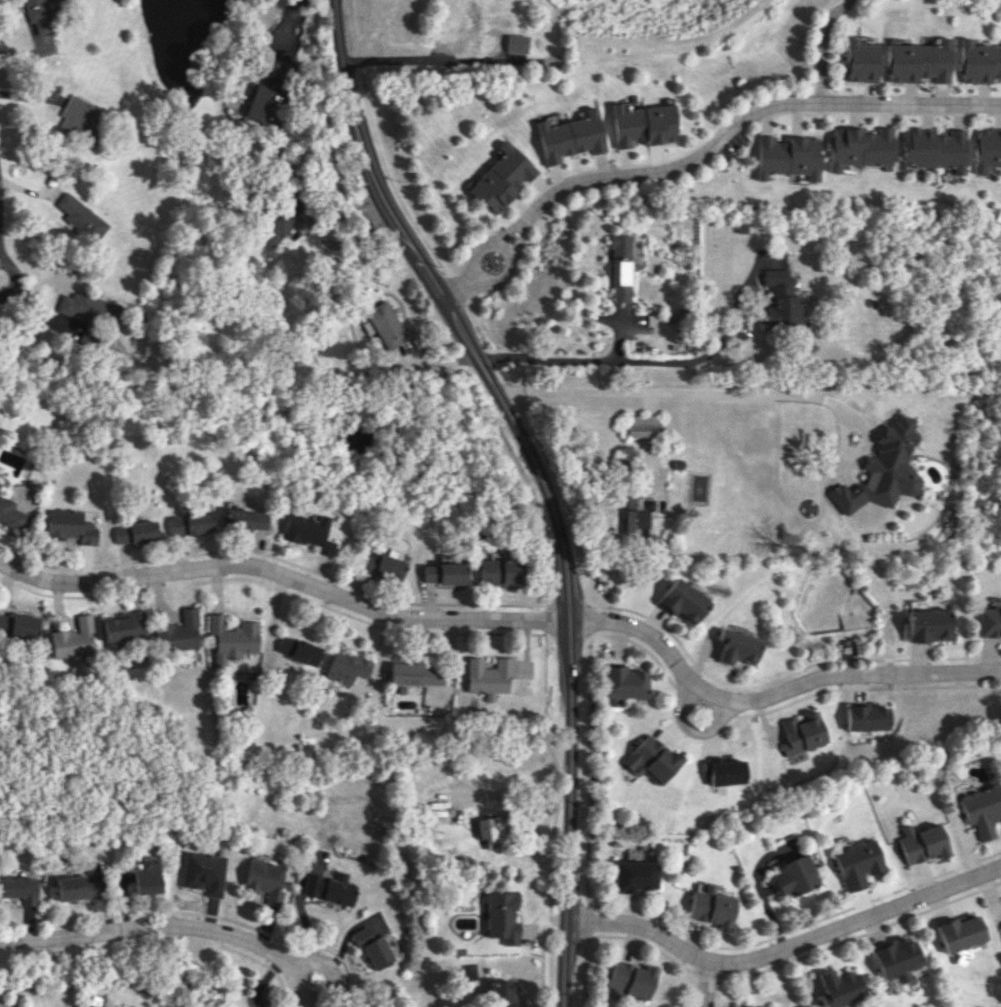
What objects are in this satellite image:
building: (39, 15)
building: (463, 31)
building: (517, 43)
road: (822, 48)
road: (29, 53)
road: (448, 61)
building: (860, 61)
building: (917, 61)
building: (977, 62)
building: (269, 96)
road: (869, 111)
building: (79, 121)
road: (735, 121)
building: (642, 124)
road: (736, 129)
building: (570, 137)
road: (381, 145)
building: (860, 147)
building: (934, 149)
building: (986, 149)
building: (788, 156)
road: (623, 166)
building: (502, 178)
road: (0, 214)
building: (80, 218)
building: (281, 221)
road: (524, 222)
road: (2, 234)
building: (619, 267)
road: (515, 279)
road: (13, 280)
road: (486, 280)
road: (460, 286)
road: (458, 287)
building: (781, 299)
building: (91, 312)
road: (479, 319)
building: (387, 324)
road: (580, 358)
road: (661, 392)
building: (642, 425)
building: (882, 470)
road: (541, 480)
building: (0, 483)
building: (636, 512)
building: (11, 514)
building: (244, 519)
building: (188, 523)
building: (70, 525)
building: (134, 532)
building: (306, 532)
road: (274, 557)
building: (379, 565)
building: (500, 572)
building: (442, 573)
road: (285, 577)
road: (272, 587)
road: (589, 590)
road: (546, 598)
building: (682, 601)
road: (568, 606)
road: (546, 618)
road: (588, 619)
building: (990, 619)
building: (19, 625)
building: (929, 625)
building: (123, 626)
road: (566, 631)
building: (178, 632)
building: (231, 638)
building: (73, 639)
road: (640, 645)
building: (734, 647)
building: (297, 652)
building: (344, 667)
building: (415, 674)
road: (780, 675)
building: (487, 676)
building: (623, 683)
road: (854, 688)
road: (771, 695)
road: (703, 700)
building: (868, 717)
road: (691, 726)
building: (802, 732)
building: (650, 759)
building: (725, 770)
road: (588, 771)
road: (503, 790)
building: (981, 809)
road: (553, 818)
building: (480, 828)
building: (920, 843)
building: (857, 864)
building: (203, 872)
building: (146, 876)
building: (633, 876)
building: (794, 876)
building: (264, 878)
building: (76, 888)
building: (328, 888)
building: (19, 889)
building: (711, 907)
road: (200, 913)
building: (502, 917)
road: (588, 924)
building: (1000, 926)
road: (153, 927)
road: (795, 928)
road: (862, 933)
building: (959, 933)
road: (644, 942)
road: (785, 947)
building: (373, 948)
road: (262, 963)
road: (585, 972)
road: (709, 972)
building: (632, 978)
road: (261, 980)
road: (709, 984)
road: (332, 987)
building: (838, 988)
building: (502, 993)
building: (88, 1005)

